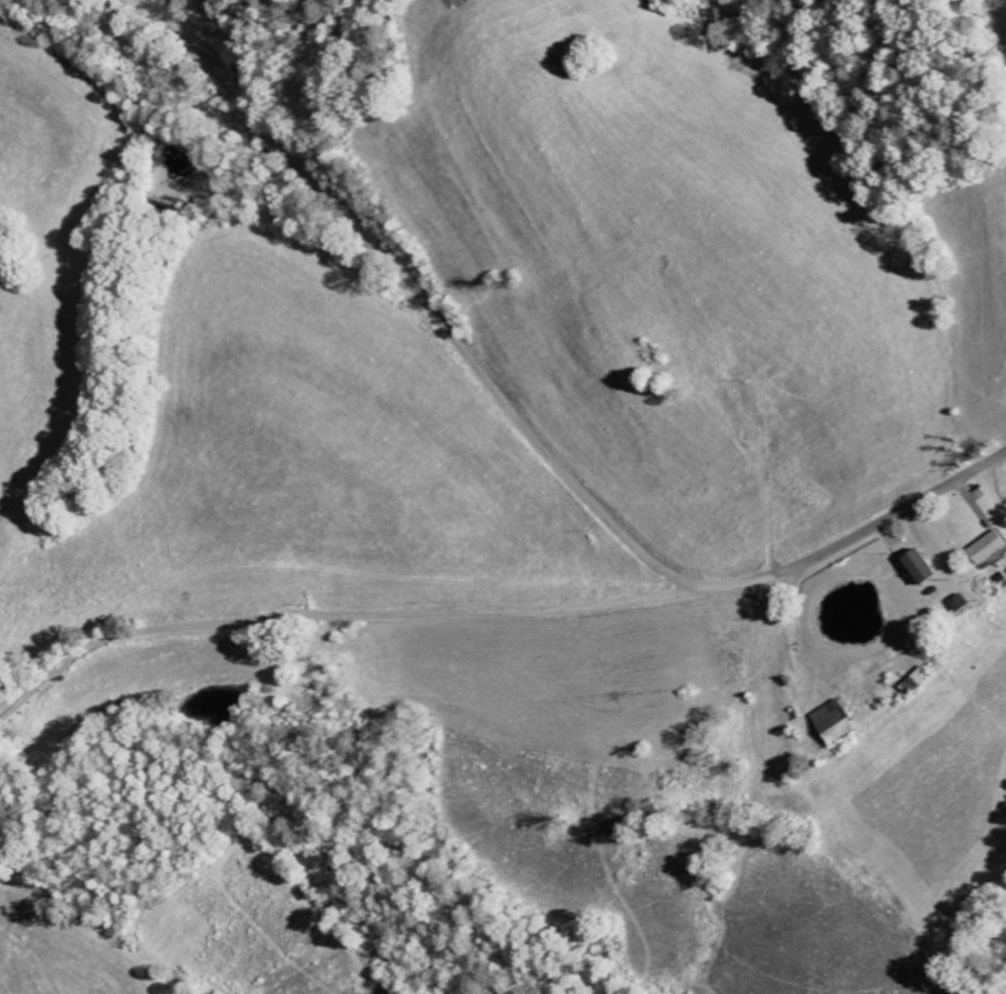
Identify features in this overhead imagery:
road: (518, 423)
building: (987, 548)
building: (919, 567)
building: (958, 603)
road: (356, 615)
building: (832, 723)

